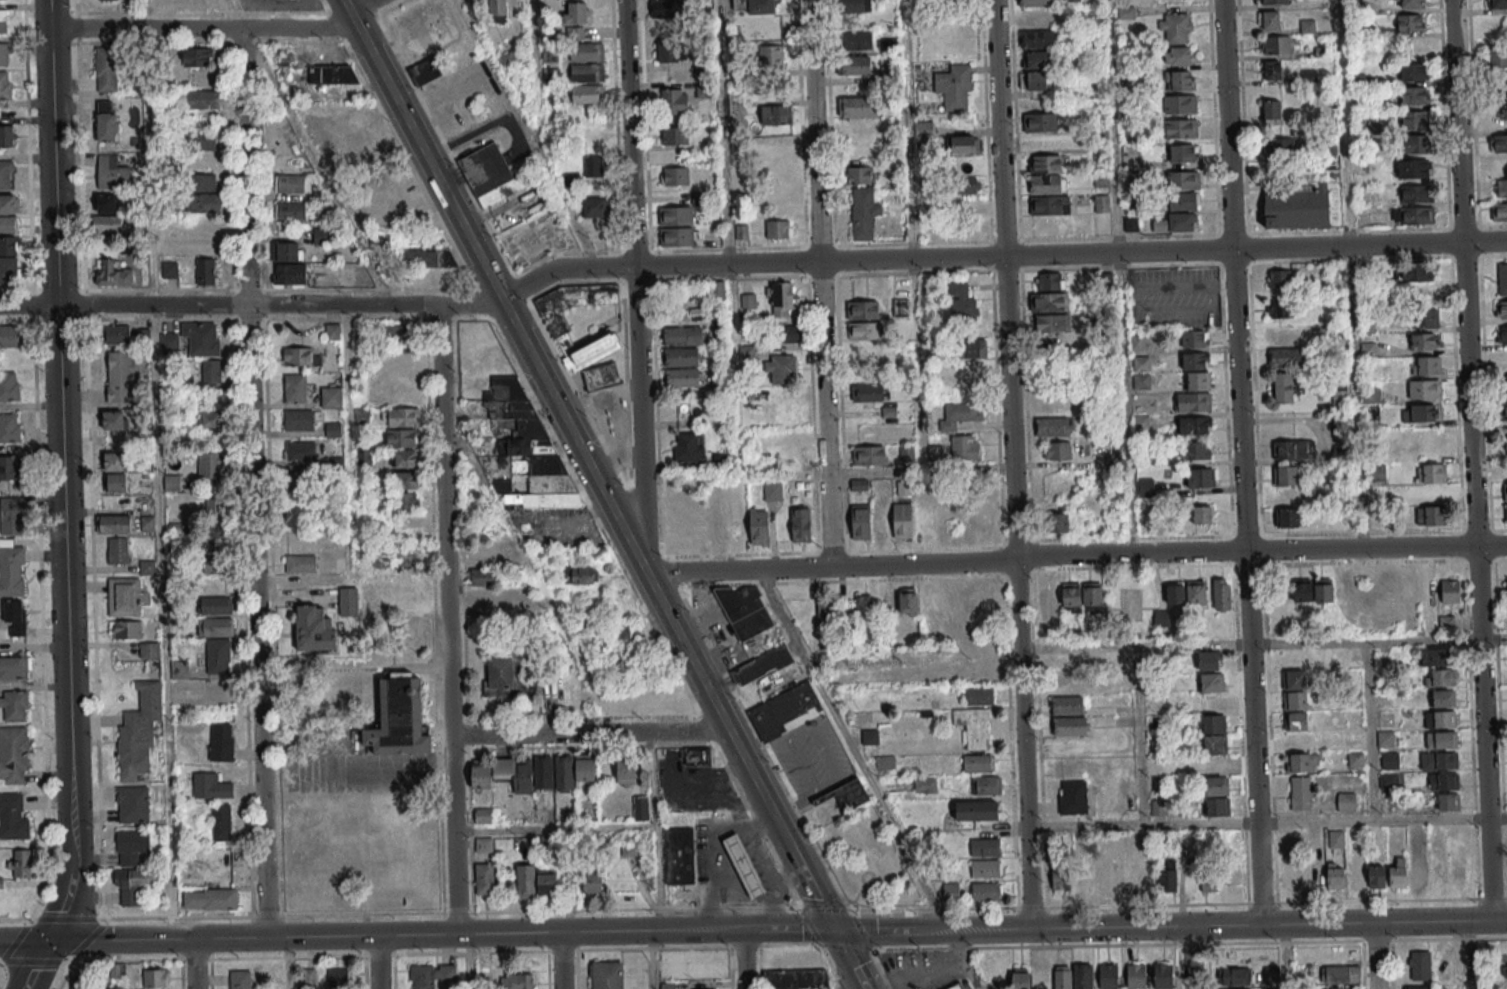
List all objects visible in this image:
building: (1072, 0)
building: (1273, 2)
building: (1036, 3)
building: (1409, 4)
building: (1497, 5)
building: (854, 6)
building: (754, 7)
building: (669, 8)
road: (365, 9)
building: (497, 10)
road: (48, 14)
building: (1036, 18)
building: (3, 20)
building: (577, 20)
building: (1269, 21)
building: (1409, 22)
building: (1175, 27)
road: (144, 28)
road: (296, 28)
building: (1038, 39)
building: (856, 40)
building: (1275, 45)
building: (586, 52)
building: (671, 52)
building: (3, 53)
building: (1180, 55)
building: (197, 56)
building: (770, 57)
building: (1498, 57)
building: (1038, 59)
building: (506, 60)
building: (856, 65)
building: (106, 69)
building: (1272, 70)
building: (425, 71)
building: (1412, 71)
building: (587, 73)
building: (332, 74)
building: (1033, 80)
building: (1181, 80)
building: (5, 85)
building: (954, 88)
building: (1499, 90)
building: (588, 94)
building: (1414, 94)
building: (203, 99)
building: (673, 101)
building: (1180, 104)
building: (858, 106)
building: (1271, 110)
building: (319, 113)
building: (773, 114)
building: (1498, 115)
building: (1415, 119)
building: (106, 121)
building: (350, 128)
building: (1181, 128)
road: (908, 129)
building: (923, 130)
road: (723, 132)
building: (1041, 133)
building: (6, 135)
building: (674, 135)
building: (202, 141)
building: (1498, 141)
road: (396, 143)
building: (1414, 143)
building: (963, 145)
building: (1279, 148)
building: (1184, 153)
building: (203, 161)
building: (1045, 163)
building: (593, 166)
building: (1500, 167)
building: (1412, 168)
building: (112, 172)
building: (5, 174)
building: (491, 175)
building: (675, 175)
building: (858, 175)
building: (1100, 179)
building: (1183, 180)
building: (203, 182)
building: (289, 183)
building: (1046, 183)
building: (966, 185)
building: (1500, 188)
building: (1416, 193)
building: (1305, 200)
building: (1182, 201)
building: (106, 203)
building: (205, 203)
building: (1101, 203)
building: (8, 204)
building: (1049, 205)
building: (595, 207)
building: (290, 210)
building: (1499, 211)
building: (863, 213)
building: (1413, 215)
building: (1177, 222)
building: (107, 223)
building: (8, 224)
building: (676, 226)
building: (779, 228)
building: (967, 228)
building: (321, 236)
building: (8, 245)
building: (289, 251)
building: (421, 259)
road: (778, 262)
building: (8, 269)
building: (205, 271)
building: (1416, 271)
building: (112, 273)
building: (291, 273)
road: (1349, 274)
road: (634, 275)
road: (1122, 276)
building: (1279, 278)
building: (1502, 278)
building: (1049, 281)
road: (819, 283)
road: (295, 289)
building: (717, 289)
building: (1424, 295)
building: (782, 299)
building: (1048, 302)
road: (28, 306)
building: (962, 306)
building: (900, 307)
building: (1280, 308)
building: (863, 309)
building: (1501, 309)
building: (1426, 318)
road: (56, 319)
road: (212, 319)
building: (553, 321)
building: (1053, 323)
building: (864, 330)
building: (332, 331)
building: (399, 333)
building: (786, 334)
building: (1502, 334)
building: (118, 335)
building: (10, 336)
building: (683, 337)
building: (1194, 338)
building: (200, 339)
building: (1424, 341)
building: (168, 342)
building: (971, 348)
building: (1284, 348)
building: (746, 353)
building: (300, 356)
building: (682, 357)
building: (1196, 360)
road: (535, 365)
building: (1425, 365)
building: (781, 369)
building: (971, 369)
building: (211, 370)
building: (1142, 372)
building: (120, 376)
building: (601, 376)
building: (683, 378)
building: (1198, 380)
building: (1504, 383)
building: (8, 386)
building: (295, 388)
building: (1284, 388)
building: (1424, 389)
building: (867, 392)
building: (331, 396)
building: (1339, 399)
building: (1194, 402)
building: (1052, 406)
building: (1503, 409)
building: (1420, 412)
road: (733, 415)
building: (959, 416)
building: (401, 417)
building: (211, 419)
building: (114, 420)
building: (299, 420)
building: (1195, 425)
building: (1053, 426)
building: (9, 428)
building: (402, 438)
building: (1506, 444)
building: (687, 446)
road: (62, 447)
building: (965, 447)
building: (528, 449)
building: (1294, 449)
building: (300, 450)
building: (1057, 450)
building: (1194, 450)
building: (935, 453)
building: (870, 454)
building: (907, 454)
road: (609, 456)
building: (405, 458)
road: (1472, 460)
building: (115, 461)
building: (721, 462)
road: (1241, 462)
building: (211, 464)
road: (1012, 464)
building: (10, 468)
road: (919, 468)
building: (1377, 472)
building: (1286, 475)
building: (1201, 477)
building: (406, 479)
building: (302, 481)
building: (1505, 481)
building: (116, 482)
building: (172, 482)
road: (252, 482)
building: (1432, 482)
building: (859, 484)
building: (772, 491)
building: (1288, 497)
building: (404, 500)
building: (678, 507)
building: (214, 508)
building: (1505, 514)
building: (1202, 515)
building: (1431, 515)
building: (11, 516)
building: (295, 516)
building: (1289, 518)
building: (902, 520)
building: (944, 520)
building: (985, 520)
building: (881, 521)
building: (923, 521)
building: (861, 522)
building: (1061, 522)
building: (113, 524)
building: (801, 524)
building: (759, 526)
building: (118, 550)
road: (1168, 552)
building: (483, 554)
building: (214, 556)
building: (301, 564)
building: (405, 564)
building: (10, 569)
road: (738, 570)
building: (580, 575)
building: (483, 577)
building: (1385, 588)
building: (1312, 589)
building: (1450, 590)
building: (1185, 592)
building: (1343, 592)
building: (1221, 594)
building: (123, 597)
building: (1082, 597)
building: (485, 600)
building: (348, 601)
building: (908, 601)
building: (973, 601)
building: (1048, 601)
building: (216, 606)
building: (864, 606)
building: (744, 611)
building: (826, 611)
building: (15, 617)
road: (447, 619)
building: (215, 627)
building: (124, 629)
building: (314, 629)
building: (619, 631)
road: (1262, 641)
building: (149, 650)
building: (218, 656)
building: (1435, 657)
building: (1209, 660)
building: (1067, 663)
building: (761, 666)
building: (13, 668)
building: (984, 673)
building: (1439, 677)
building: (505, 679)
building: (1066, 685)
building: (216, 689)
building: (978, 697)
building: (1443, 698)
building: (13, 705)
building: (782, 710)
building: (1068, 715)
building: (399, 718)
building: (1440, 719)
building: (1298, 724)
building: (973, 727)
road: (1371, 729)
building: (138, 731)
road: (589, 733)
road: (1139, 734)
building: (870, 735)
building: (1385, 738)
building: (1441, 739)
building: (220, 743)
building: (1214, 744)
road: (850, 749)
building: (13, 753)
building: (698, 756)
building: (1389, 760)
building: (1439, 760)
building: (885, 762)
road: (379, 763)
building: (977, 763)
building: (584, 767)
building: (543, 772)
building: (564, 773)
building: (626, 773)
building: (504, 774)
building: (1389, 781)
building: (1443, 781)
building: (925, 785)
building: (984, 785)
building: (210, 786)
building: (1302, 792)
building: (845, 794)
building: (1072, 797)
road: (763, 798)
building: (1346, 801)
building: (1448, 801)
building: (132, 804)
building: (640, 808)
building: (977, 810)
building: (482, 815)
building: (12, 817)
building: (220, 822)
road: (1266, 822)
road: (555, 829)
road: (659, 831)
building: (1336, 838)
building: (484, 845)
building: (632, 845)
building: (131, 846)
building: (984, 847)
road: (751, 856)
building: (679, 857)
road: (757, 858)
park: (865, 860)
road: (740, 861)
building: (22, 863)
building: (1460, 863)
building: (742, 866)
building: (986, 868)
building: (1355, 873)
building: (1398, 873)
building: (1418, 874)
building: (1439, 874)
building: (1145, 875)
building: (1335, 875)
building: (1377, 876)
road: (718, 879)
building: (1084, 879)
building: (1168, 879)
building: (484, 880)
building: (1209, 880)
building: (525, 881)
road: (872, 881)
building: (1060, 881)
building: (1104, 882)
building: (546, 883)
building: (592, 883)
building: (134, 884)
road: (934, 891)
building: (986, 891)
building: (949, 892)
road: (770, 893)
road: (856, 896)
road: (815, 897)
road: (1504, 897)
building: (209, 898)
road: (1491, 898)
road: (740, 901)
road: (1376, 901)
road: (1261, 903)
road: (69, 905)
road: (1146, 905)
road: (981, 907)
road: (1030, 907)
road: (935, 908)
road: (800, 909)
road: (823, 909)
road: (847, 909)
road: (890, 909)
road: (851, 912)
road: (848, 913)
road: (286, 914)
road: (69, 918)
road: (1268, 924)
road: (808, 927)
road: (787, 929)
traffic signals: (833, 929)
road: (931, 929)
road: (859, 932)
road: (397, 935)
road: (1490, 937)
road: (1468, 938)
road: (1426, 939)
street lamp: (1173, 940)
road: (1376, 940)
road: (26, 941)
traffic signals: (52, 941)
road: (1326, 941)
road: (1283, 942)
road: (1227, 943)
street lamp: (1332, 943)
road: (819, 944)
road: (844, 946)
road: (1073, 946)
road: (910, 948)
road: (959, 948)
road: (1467, 955)
road: (1284, 956)
road: (1375, 956)
road: (1190, 957)
parking lot: (918, 958)
road: (963, 958)
road: (743, 959)
road: (848, 959)
road: (560, 960)
road: (652, 960)
road: (49, 961)
road: (471, 961)
road: (377, 962)
road: (195, 963)
road: (285, 963)
road: (38, 964)
road: (104, 964)
building: (1419, 965)
road: (911, 966)
building: (795, 970)
building: (1506, 971)
building: (1271, 973)
road: (935, 974)
building: (1136, 974)
building: (1163, 974)
building: (431, 975)
building: (607, 975)
building: (1339, 975)
building: (1083, 976)
building: (1108, 976)
building: (1234, 976)
building: (155, 977)
building: (1062, 977)
building: (337, 978)
parking lot: (957, 978)
building: (1022, 978)
building: (239, 980)
parking lot: (936, 980)
building: (518, 981)
road: (848, 982)
building: (954, 987)
building: (1419, 987)
building: (1236, 988)
building: (1336, 988)

